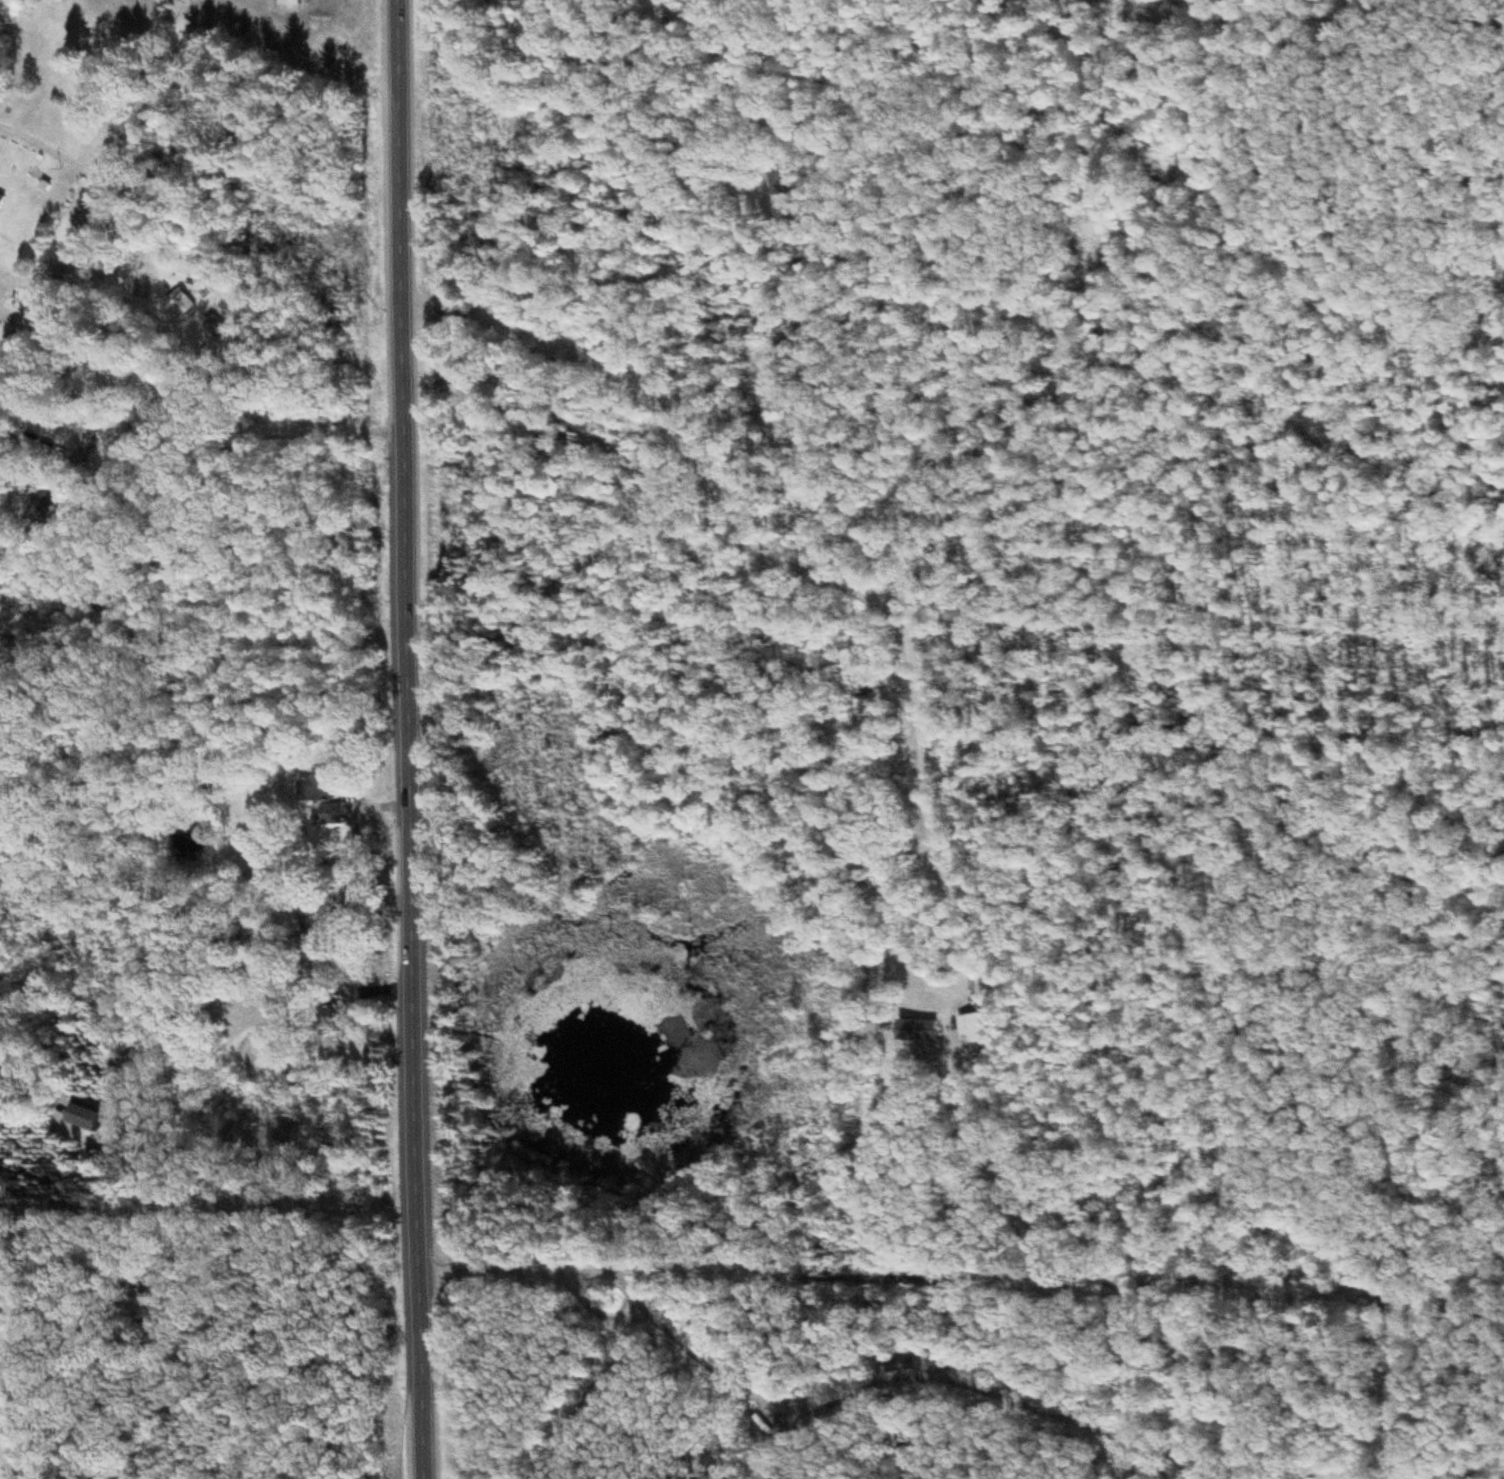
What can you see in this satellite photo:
road: (107, 173)
building: (1, 199)
building: (178, 306)
road: (3, 349)
road: (3, 356)
building: (92, 443)
building: (50, 503)
road: (810, 556)
road: (404, 739)
building: (326, 791)
building: (970, 1030)
building: (915, 1032)
building: (101, 1117)
road: (1449, 1470)

